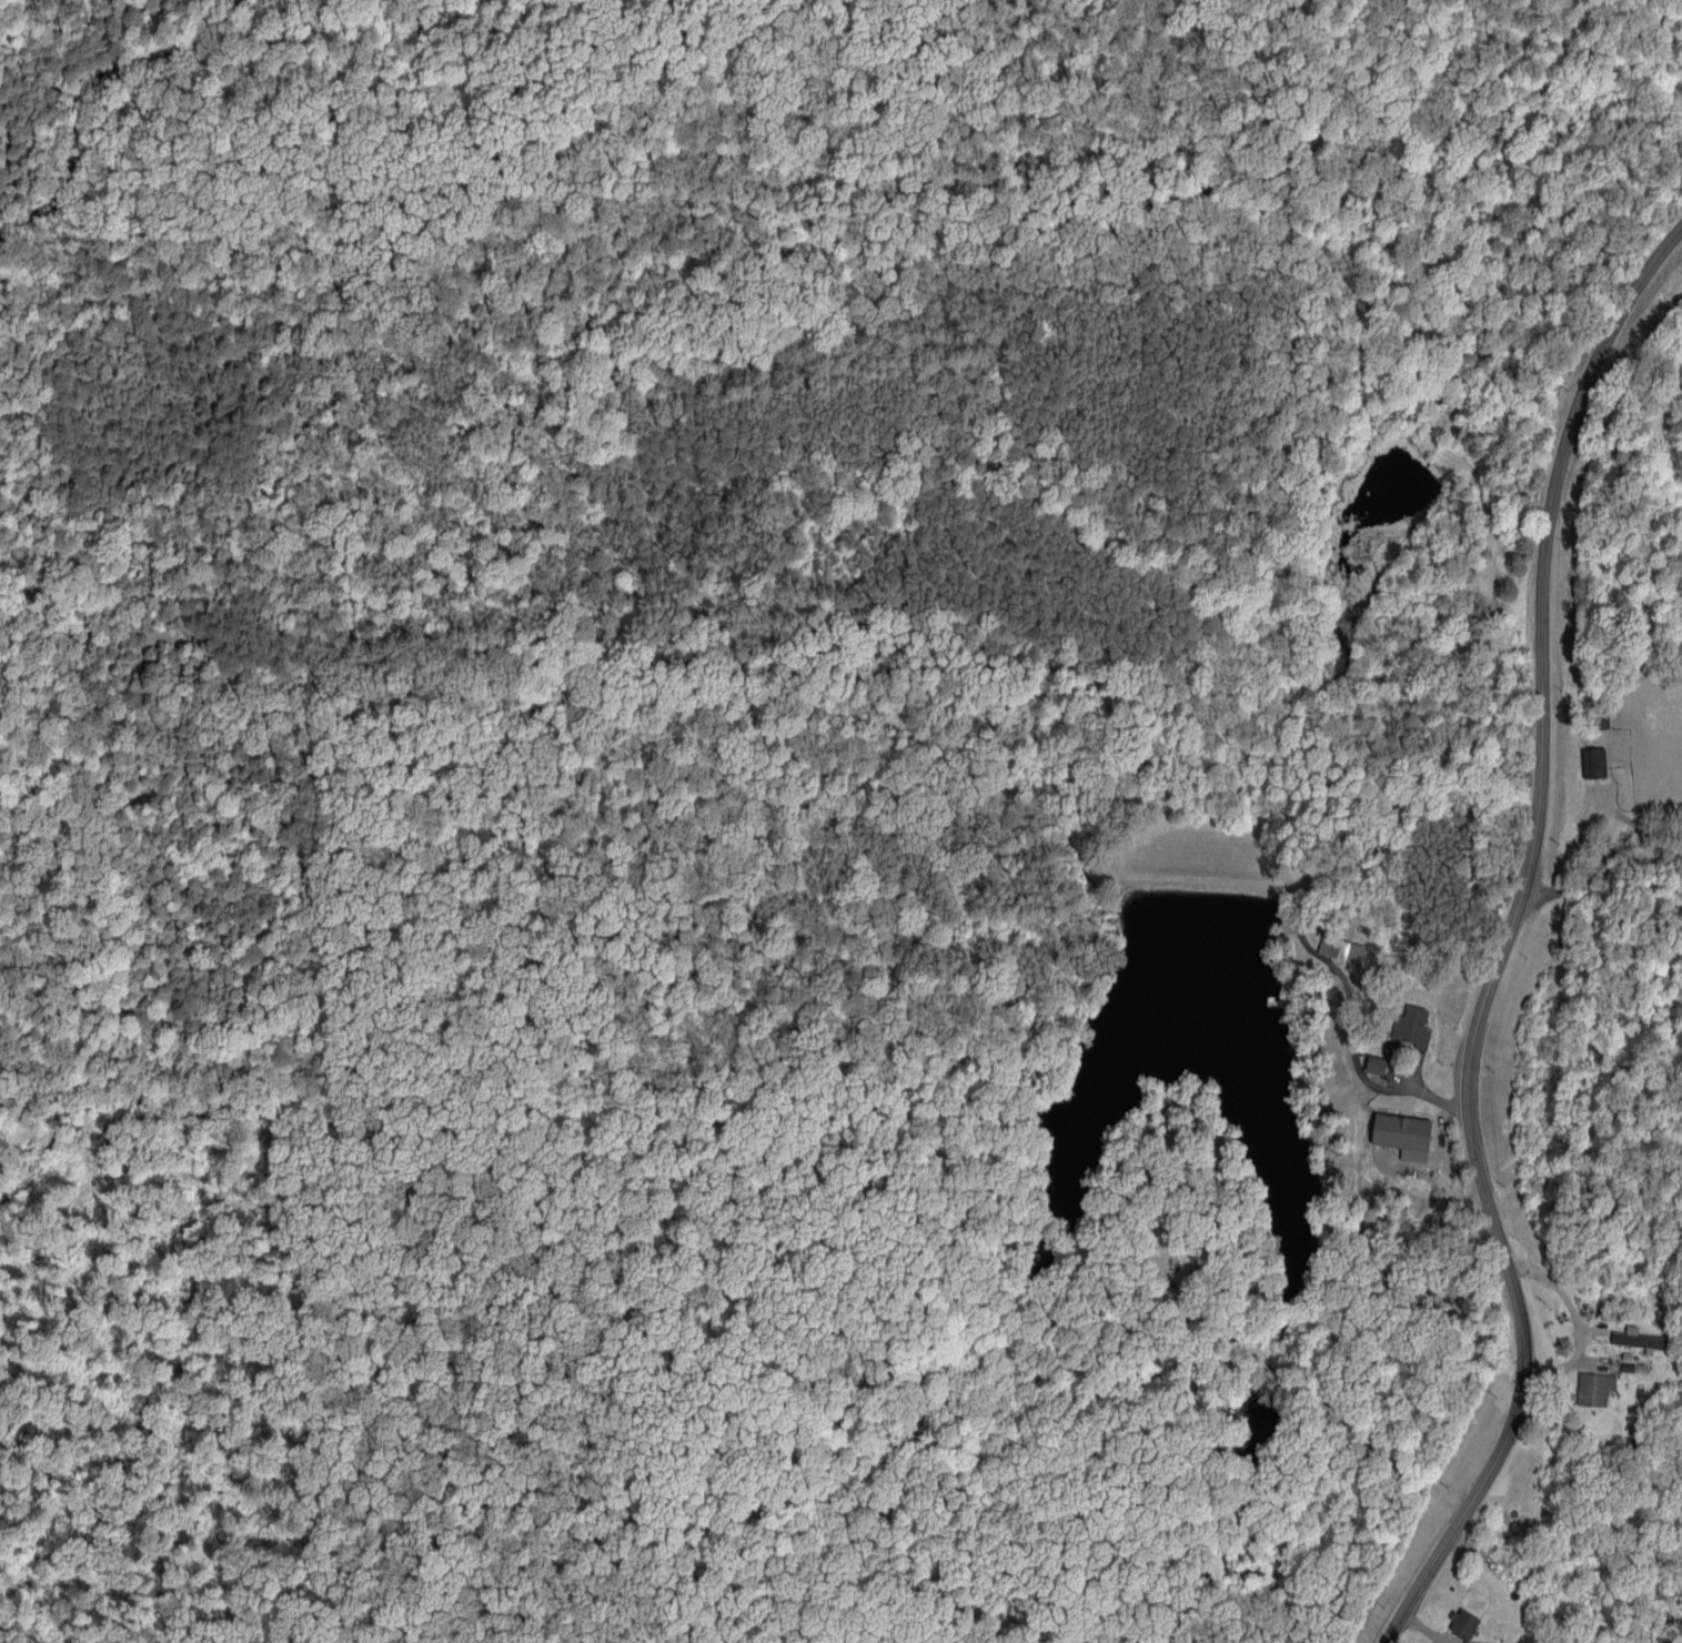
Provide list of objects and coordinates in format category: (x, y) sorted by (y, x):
building: (1595, 760)
road: (1602, 870)
road: (1520, 940)
building: (1341, 948)
building: (1416, 1025)
building: (1378, 1064)
building: (1406, 1131)
road: (1574, 1319)
building: (1646, 1352)
building: (1594, 1388)
building: (1464, 1622)
building: (1475, 1642)

